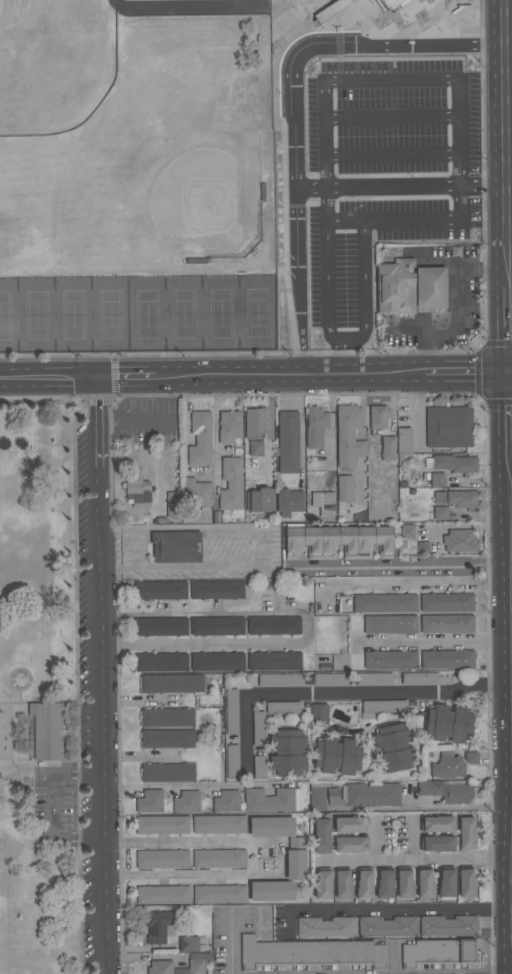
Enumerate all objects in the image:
building: (389, 4)
road: (212, 8)
road: (444, 8)
road: (323, 10)
road: (312, 20)
road: (420, 43)
road: (509, 54)
road: (429, 82)
road: (296, 122)
road: (509, 133)
road: (507, 144)
road: (417, 155)
road: (377, 156)
road: (484, 185)
road: (510, 185)
road: (378, 186)
parking lot: (368, 188)
road: (337, 212)
road: (400, 229)
road: (510, 261)
road: (296, 264)
road: (485, 269)
road: (373, 285)
building: (411, 287)
park: (138, 313)
road: (450, 328)
road: (509, 331)
road: (335, 342)
road: (338, 358)
road: (298, 359)
road: (468, 374)
road: (511, 374)
road: (361, 375)
road: (226, 379)
road: (51, 383)
road: (129, 383)
road: (38, 403)
building: (379, 417)
road: (510, 417)
building: (254, 423)
building: (229, 427)
building: (315, 427)
building: (449, 427)
road: (270, 429)
road: (302, 430)
road: (215, 434)
building: (348, 436)
building: (200, 439)
building: (404, 441)
building: (289, 442)
building: (388, 448)
building: (452, 463)
building: (437, 479)
building: (231, 484)
building: (344, 489)
building: (138, 491)
building: (197, 495)
building: (439, 498)
building: (462, 499)
building: (261, 501)
building: (289, 502)
building: (173, 505)
building: (440, 513)
building: (407, 531)
building: (460, 541)
building: (337, 542)
building: (176, 546)
road: (263, 546)
road: (405, 571)
building: (217, 590)
building: (160, 591)
road: (77, 592)
building: (447, 603)
building: (385, 604)
road: (511, 620)
building: (447, 624)
building: (390, 625)
building: (217, 626)
building: (274, 626)
road: (310, 626)
building: (160, 627)
road: (434, 642)
building: (391, 660)
building: (447, 660)
building: (274, 661)
building: (160, 662)
building: (217, 662)
road: (26, 670)
park: (54, 676)
road: (106, 678)
building: (419, 678)
building: (374, 679)
building: (281, 680)
building: (330, 680)
building: (172, 684)
road: (339, 695)
building: (382, 707)
building: (283, 708)
building: (231, 711)
building: (319, 714)
building: (167, 718)
building: (449, 724)
building: (259, 729)
building: (45, 731)
road: (28, 735)
road: (62, 737)
road: (13, 738)
building: (167, 739)
building: (394, 748)
building: (288, 752)
building: (337, 756)
building: (471, 758)
road: (19, 765)
building: (448, 766)
building: (259, 768)
road: (15, 773)
building: (168, 773)
road: (202, 787)
building: (446, 791)
building: (371, 795)
building: (318, 796)
building: (271, 800)
building: (227, 801)
building: (149, 802)
building: (186, 802)
road: (53, 804)
building: (437, 824)
building: (162, 825)
building: (219, 825)
building: (352, 825)
building: (272, 827)
building: (322, 835)
building: (467, 835)
road: (191, 842)
building: (351, 844)
building: (437, 844)
road: (80, 855)
building: (163, 859)
building: (219, 859)
road: (285, 859)
building: (296, 859)
road: (415, 861)
park: (2, 863)
road: (192, 874)
building: (447, 882)
building: (466, 882)
building: (323, 883)
building: (343, 883)
building: (364, 883)
building: (385, 883)
building: (404, 883)
building: (425, 883)
building: (272, 891)
building: (163, 895)
building: (220, 895)
road: (402, 908)
building: (160, 926)
building: (448, 926)
building: (386, 927)
building: (325, 928)
road: (232, 941)
building: (188, 944)
building: (438, 952)
building: (310, 954)
building: (197, 963)
building: (160, 967)

